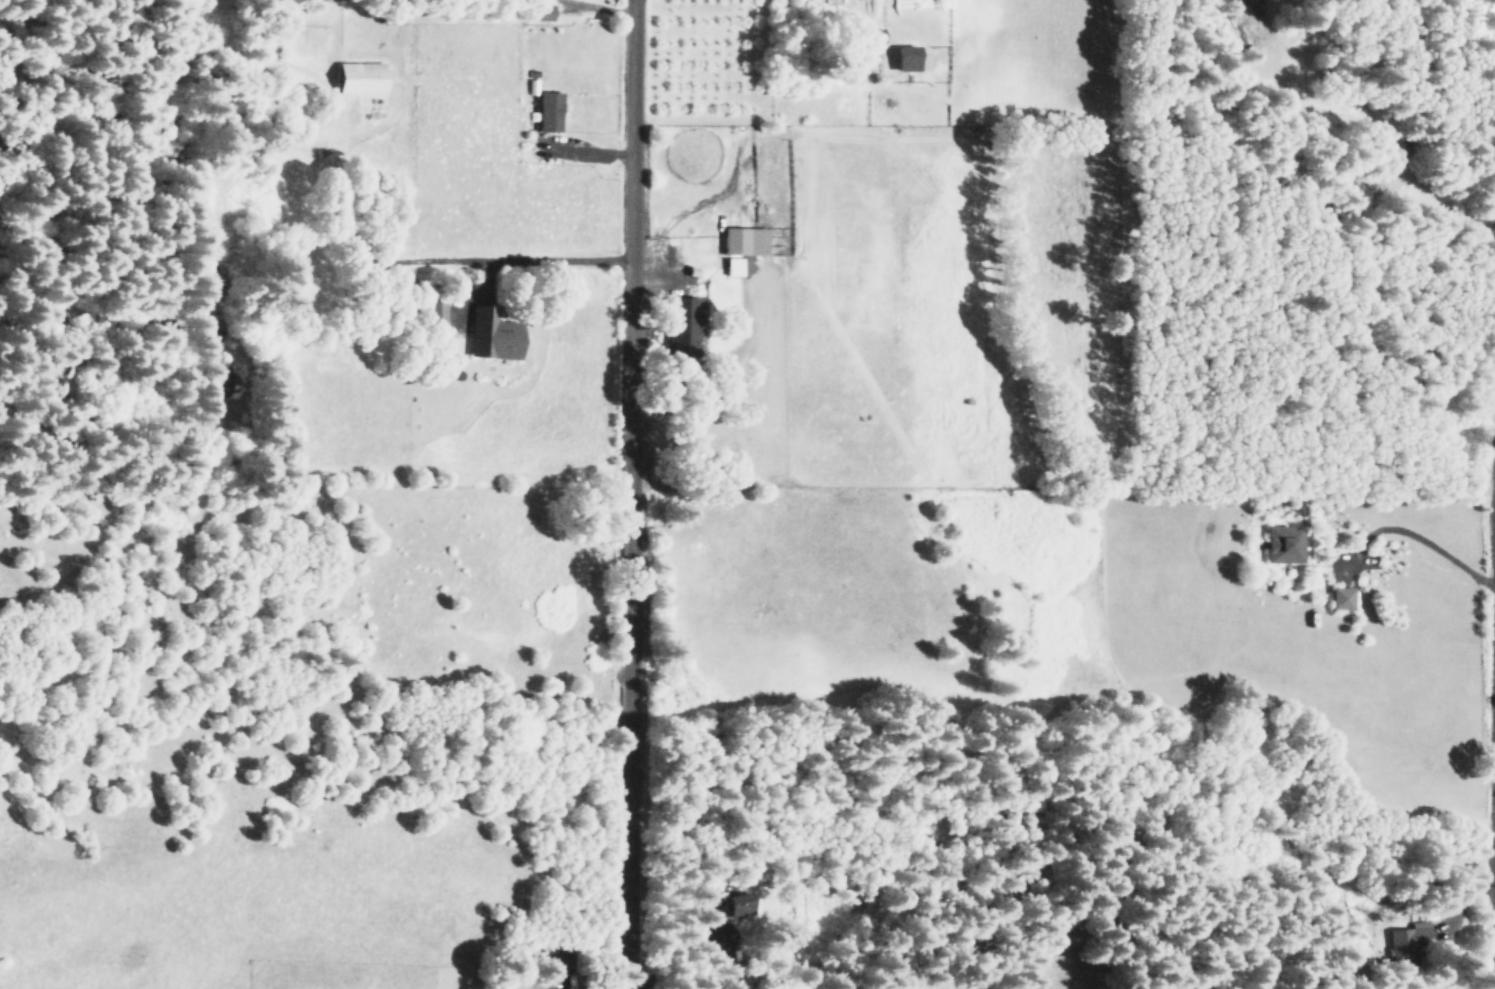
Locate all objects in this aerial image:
building: (541, 11)
building: (868, 38)
building: (905, 58)
building: (360, 78)
building: (548, 111)
building: (744, 241)
building: (431, 312)
building: (680, 325)
building: (491, 335)
building: (216, 379)
road: (643, 494)
building: (1283, 544)
building: (1341, 598)
building: (707, 895)
building: (736, 904)
building: (1406, 938)
building: (555, 959)
road: (1479, 977)

